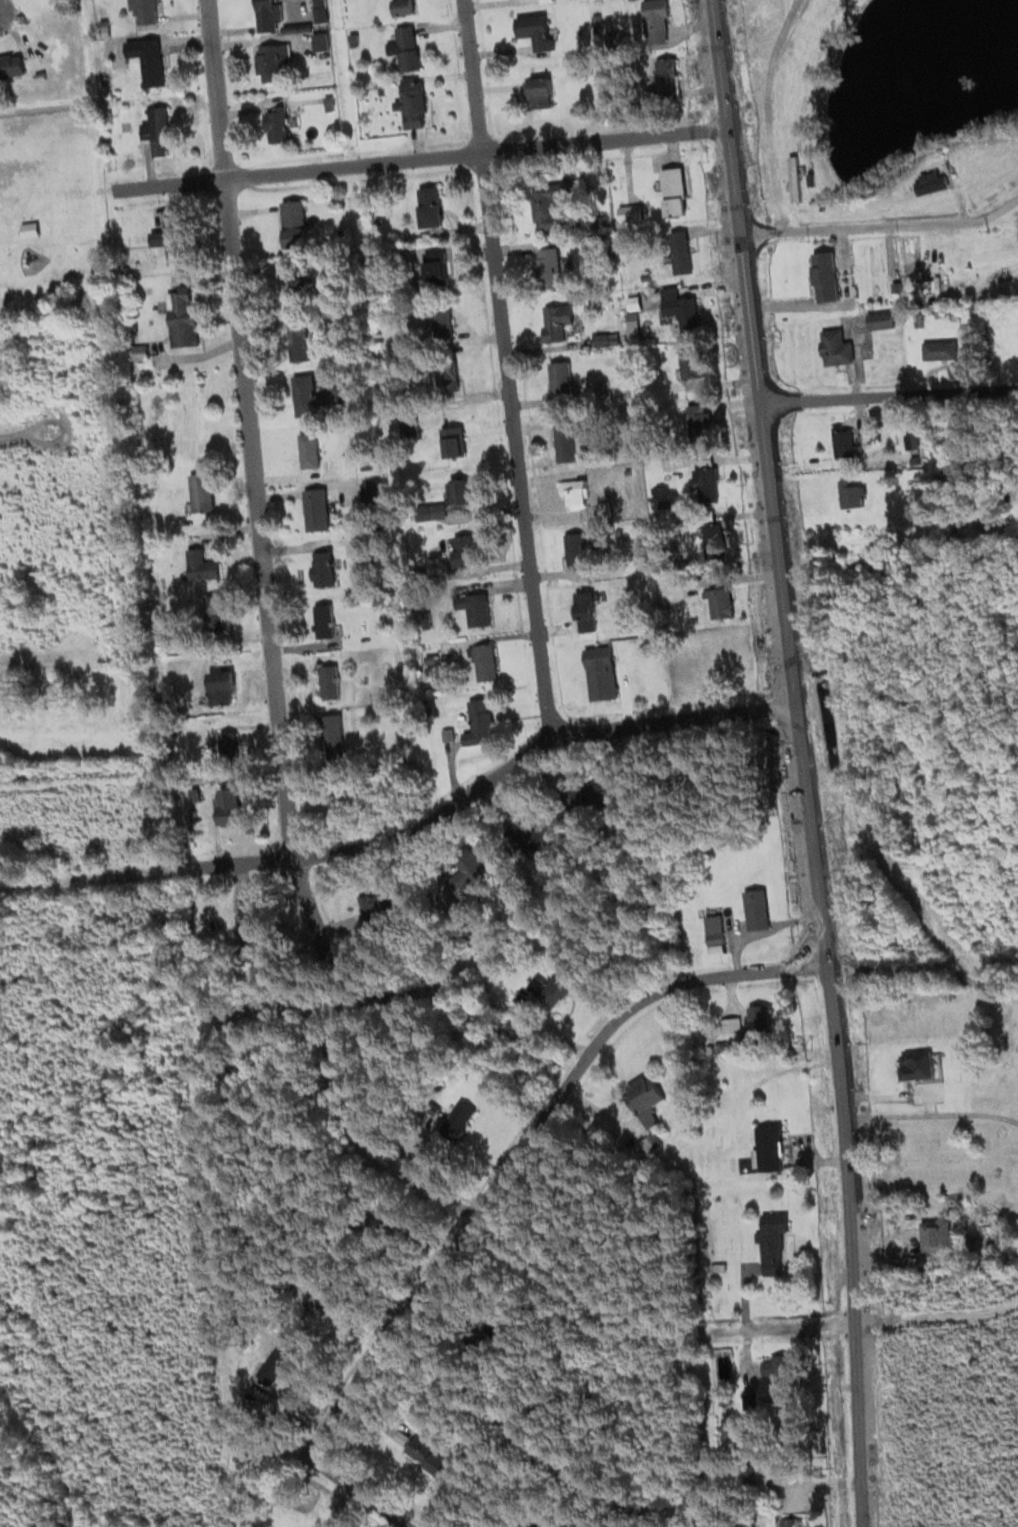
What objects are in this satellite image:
building: (547, 1)
building: (405, 6)
building: (146, 10)
building: (320, 10)
building: (267, 14)
building: (657, 16)
building: (104, 21)
building: (534, 26)
building: (353, 38)
building: (322, 40)
building: (408, 47)
building: (148, 58)
building: (272, 60)
building: (11, 64)
building: (664, 83)
building: (381, 88)
building: (541, 92)
building: (107, 94)
building: (327, 100)
building: (414, 102)
road: (769, 113)
building: (278, 125)
building: (156, 129)
road: (416, 157)
building: (795, 177)
building: (675, 191)
building: (544, 203)
building: (432, 204)
building: (631, 213)
building: (296, 224)
road: (881, 225)
building: (29, 228)
building: (169, 237)
building: (680, 251)
building: (552, 264)
building: (435, 270)
building: (644, 275)
building: (288, 287)
building: (161, 304)
building: (680, 308)
building: (939, 312)
building: (953, 313)
building: (184, 316)
building: (881, 320)
building: (557, 321)
building: (442, 322)
building: (633, 325)
building: (300, 338)
building: (606, 338)
building: (836, 348)
building: (941, 351)
building: (140, 352)
building: (694, 366)
road: (503, 369)
building: (562, 376)
building: (450, 381)
building: (317, 395)
road: (887, 395)
crop: (168, 420)
building: (700, 425)
building: (410, 429)
road: (23, 432)
building: (456, 443)
building: (566, 443)
building: (309, 449)
building: (916, 461)
road: (250, 483)
building: (705, 484)
building: (369, 491)
building: (575, 491)
building: (203, 492)
building: (460, 493)
building: (853, 494)
building: (663, 502)
building: (318, 507)
building: (605, 508)
building: (713, 542)
building: (468, 550)
building: (579, 551)
building: (202, 566)
building: (325, 567)
building: (724, 600)
building: (478, 606)
building: (587, 612)
building: (383, 615)
building: (217, 616)
building: (325, 620)
road: (37, 657)
building: (636, 657)
building: (431, 659)
building: (486, 659)
building: (602, 673)
building: (360, 678)
building: (330, 681)
building: (428, 685)
building: (222, 687)
building: (478, 721)
building: (332, 737)
building: (231, 745)
road: (797, 762)
building: (598, 792)
building: (343, 802)
building: (234, 805)
road: (407, 832)
building: (533, 833)
building: (473, 874)
building: (383, 907)
building: (757, 910)
building: (250, 921)
building: (716, 933)
road: (919, 962)
building: (555, 986)
building: (761, 1022)
building: (913, 1064)
road: (894, 1095)
building: (646, 1098)
road: (930, 1115)
building: (465, 1118)
building: (652, 1136)
building: (646, 1145)
building: (770, 1146)
road: (519, 1147)
building: (772, 1240)
building: (934, 1241)
building: (721, 1266)
road: (728, 1328)
building: (487, 1356)
building: (773, 1387)
building: (725, 1402)
building: (430, 1458)
road: (358, 1493)
building: (792, 1520)
building: (521, 1522)

